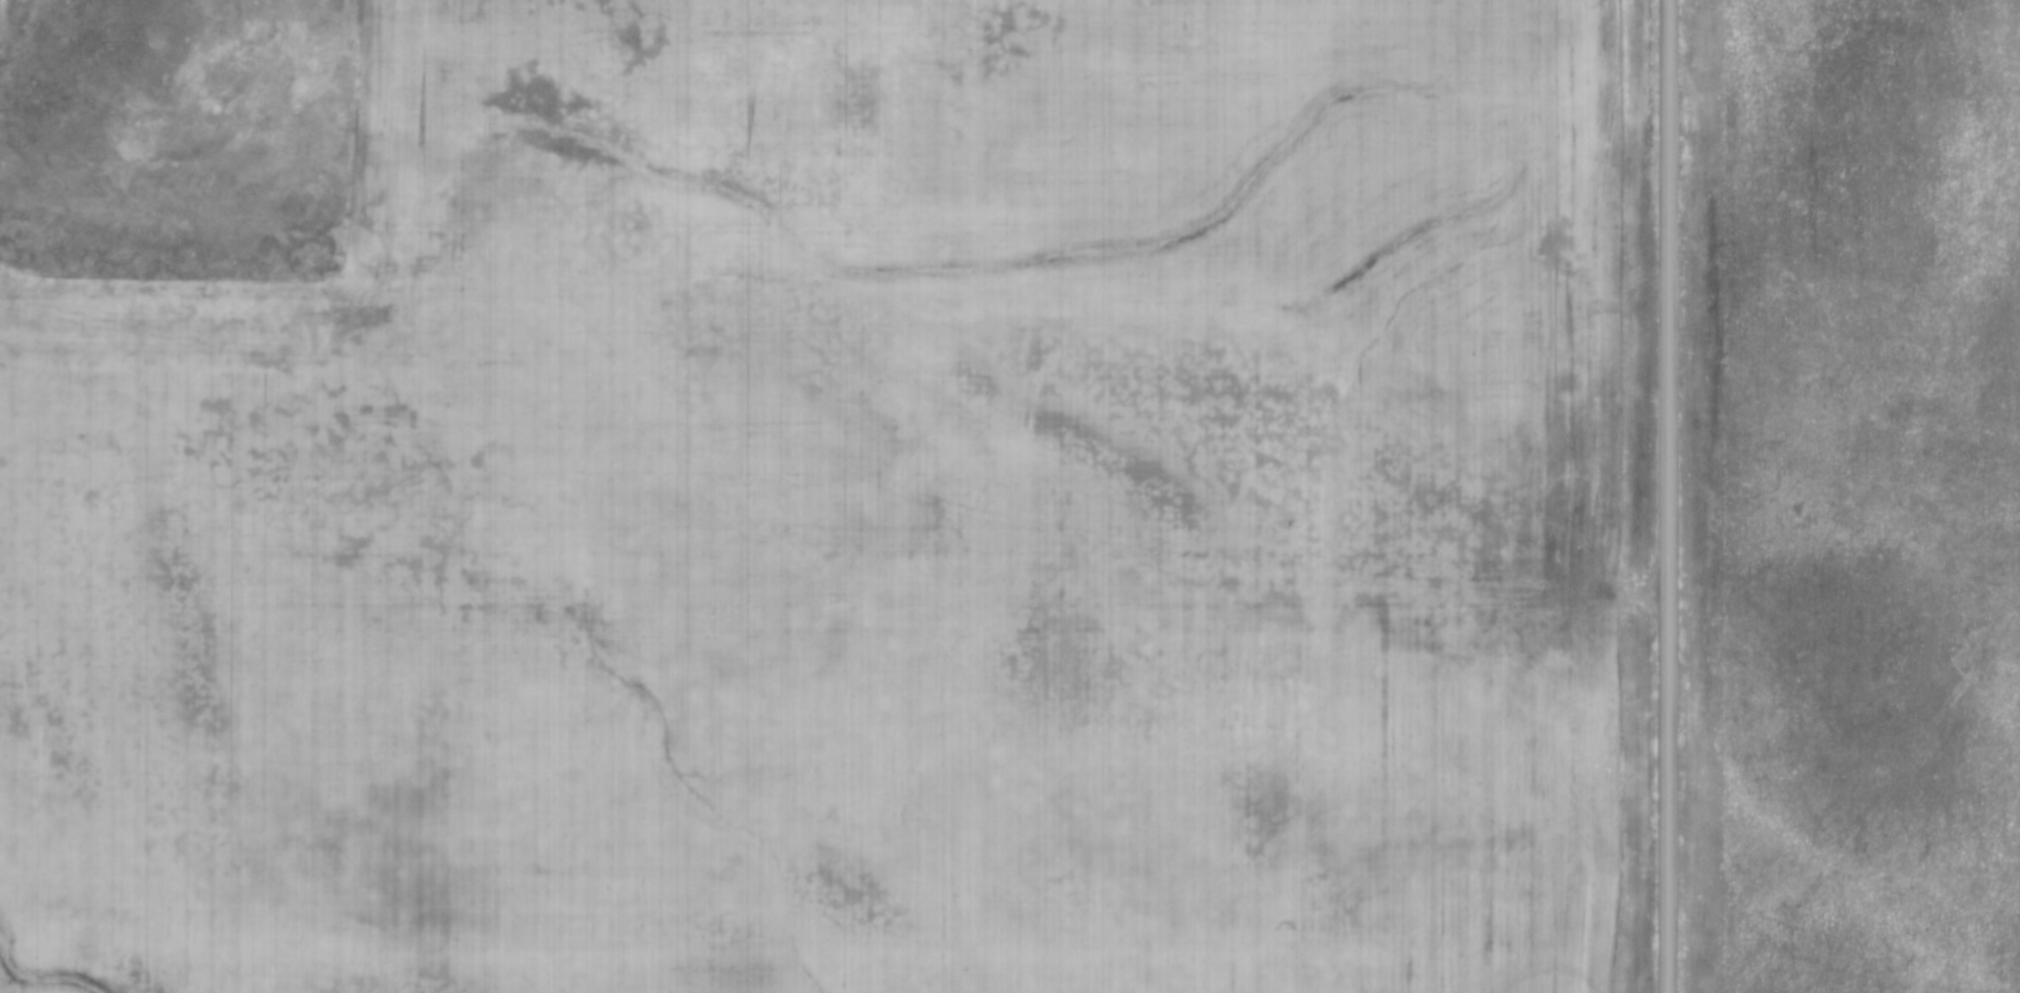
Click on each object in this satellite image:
road: (1669, 496)

